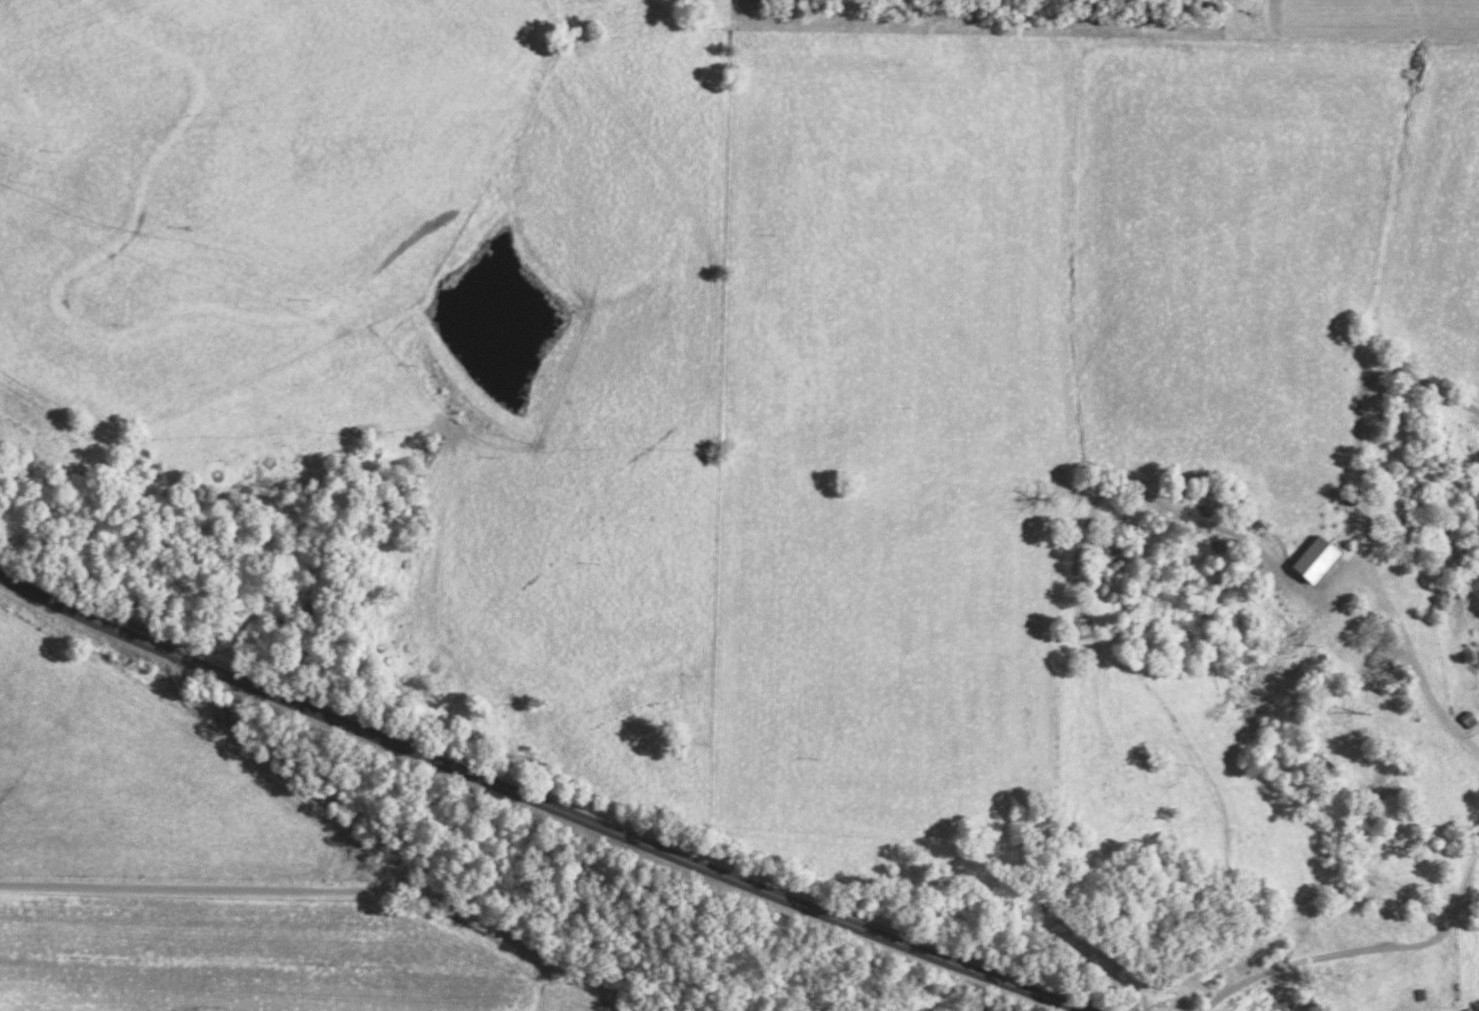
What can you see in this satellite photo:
road: (103, 103)
road: (1369, 523)
building: (1320, 561)
building: (1383, 663)
road: (539, 802)
road: (379, 867)
road: (1364, 955)

